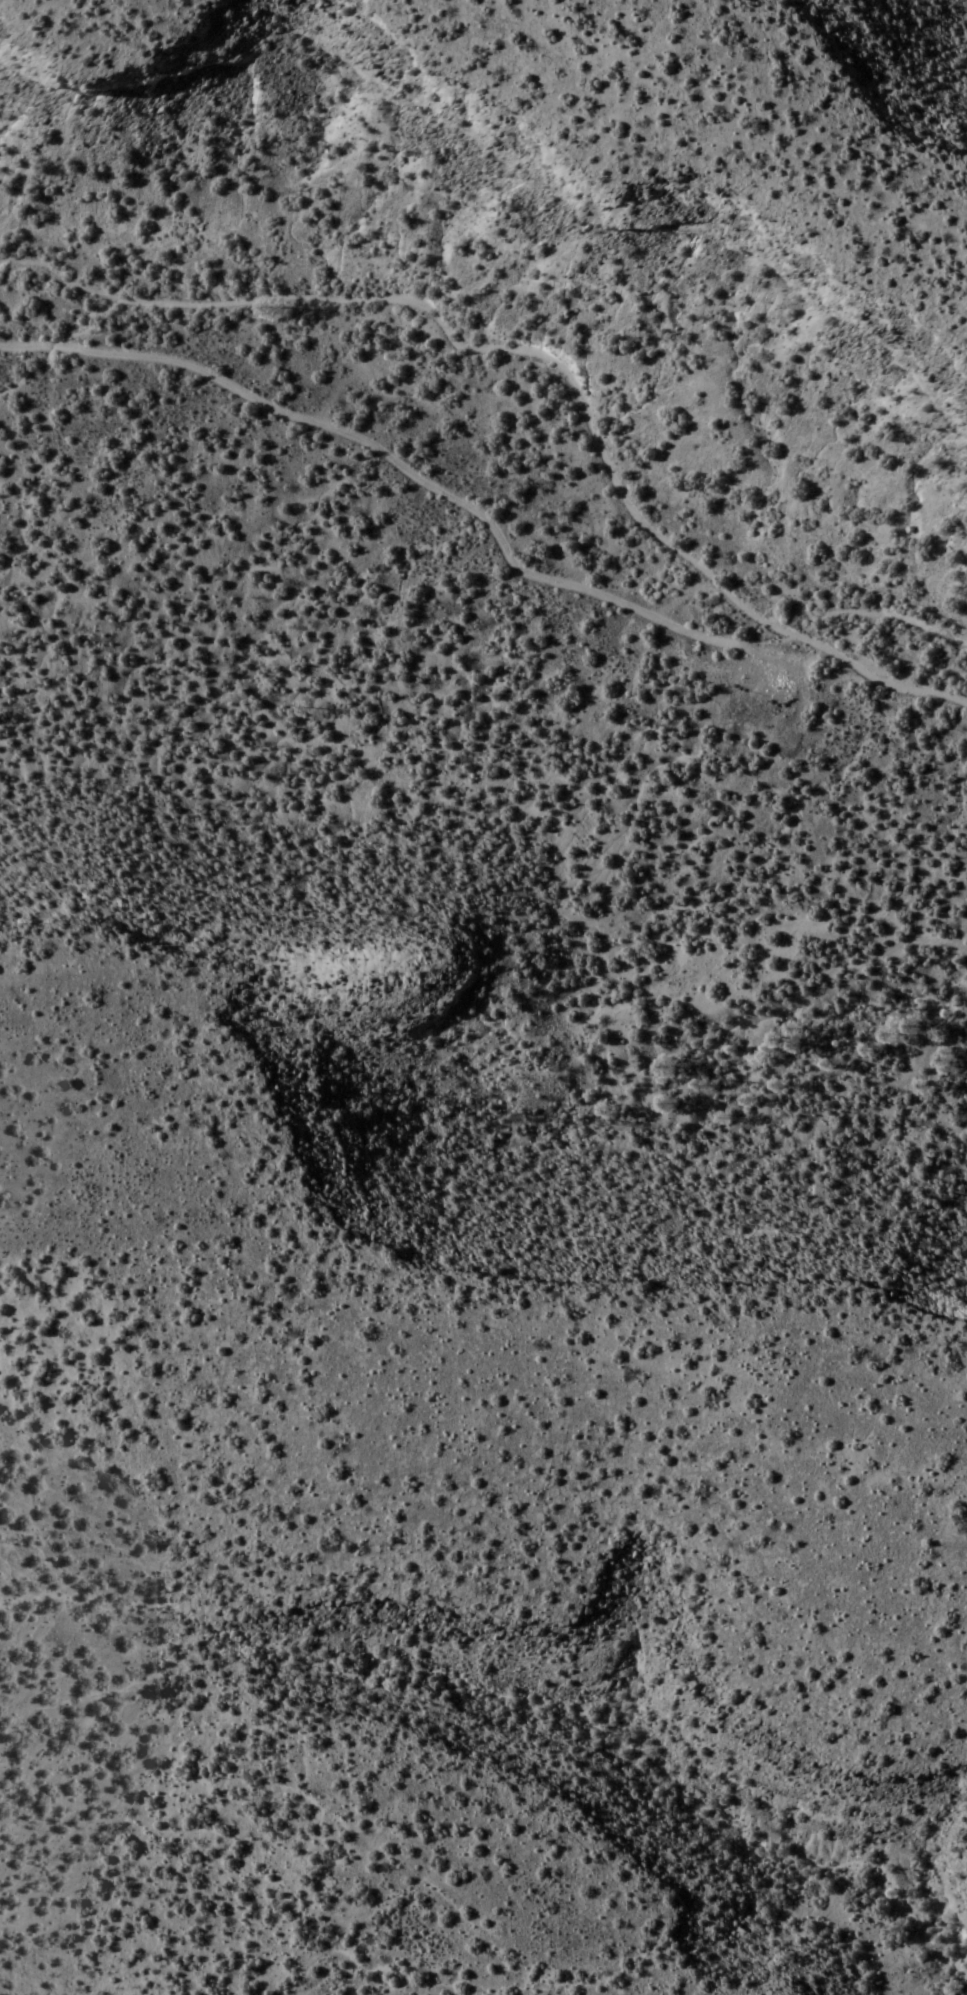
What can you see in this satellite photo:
road: (489, 527)

